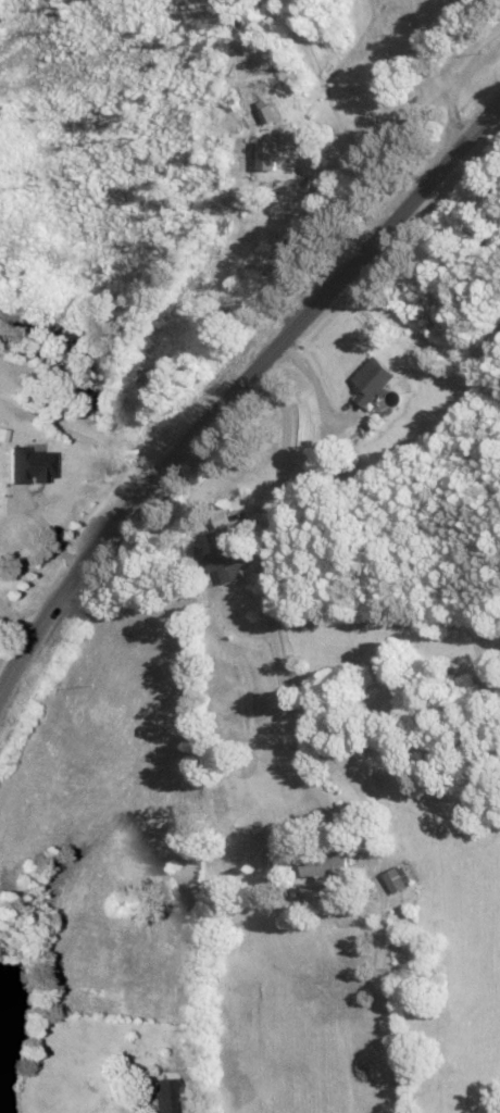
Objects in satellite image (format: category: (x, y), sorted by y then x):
building: (267, 155)
building: (373, 380)
road: (243, 388)
building: (28, 464)
building: (226, 556)
road: (11, 618)
road: (307, 708)
building: (326, 868)
building: (396, 880)
building: (162, 1097)

